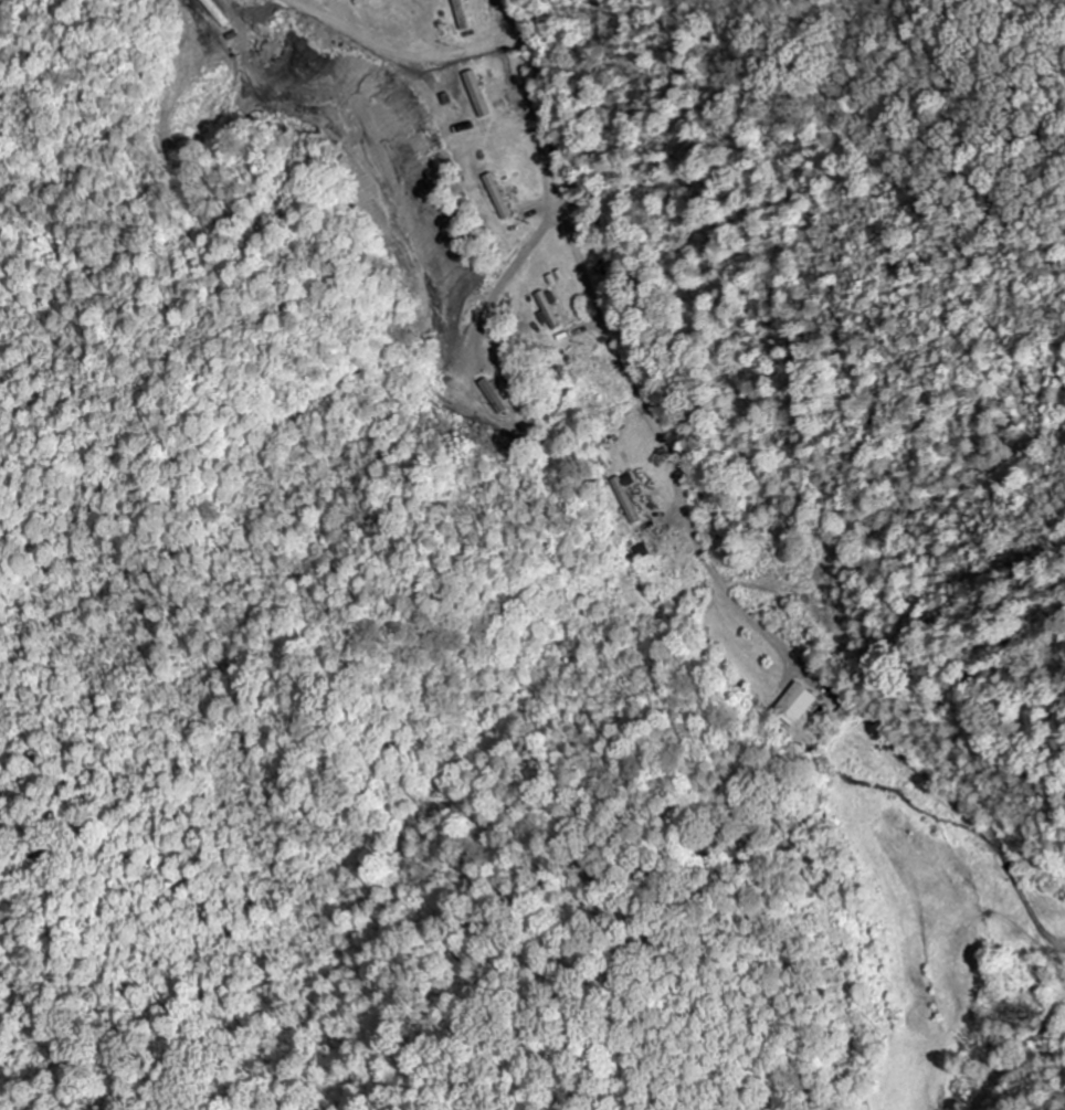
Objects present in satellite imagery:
building: (482, 94)
building: (551, 310)
building: (629, 497)
building: (798, 702)

